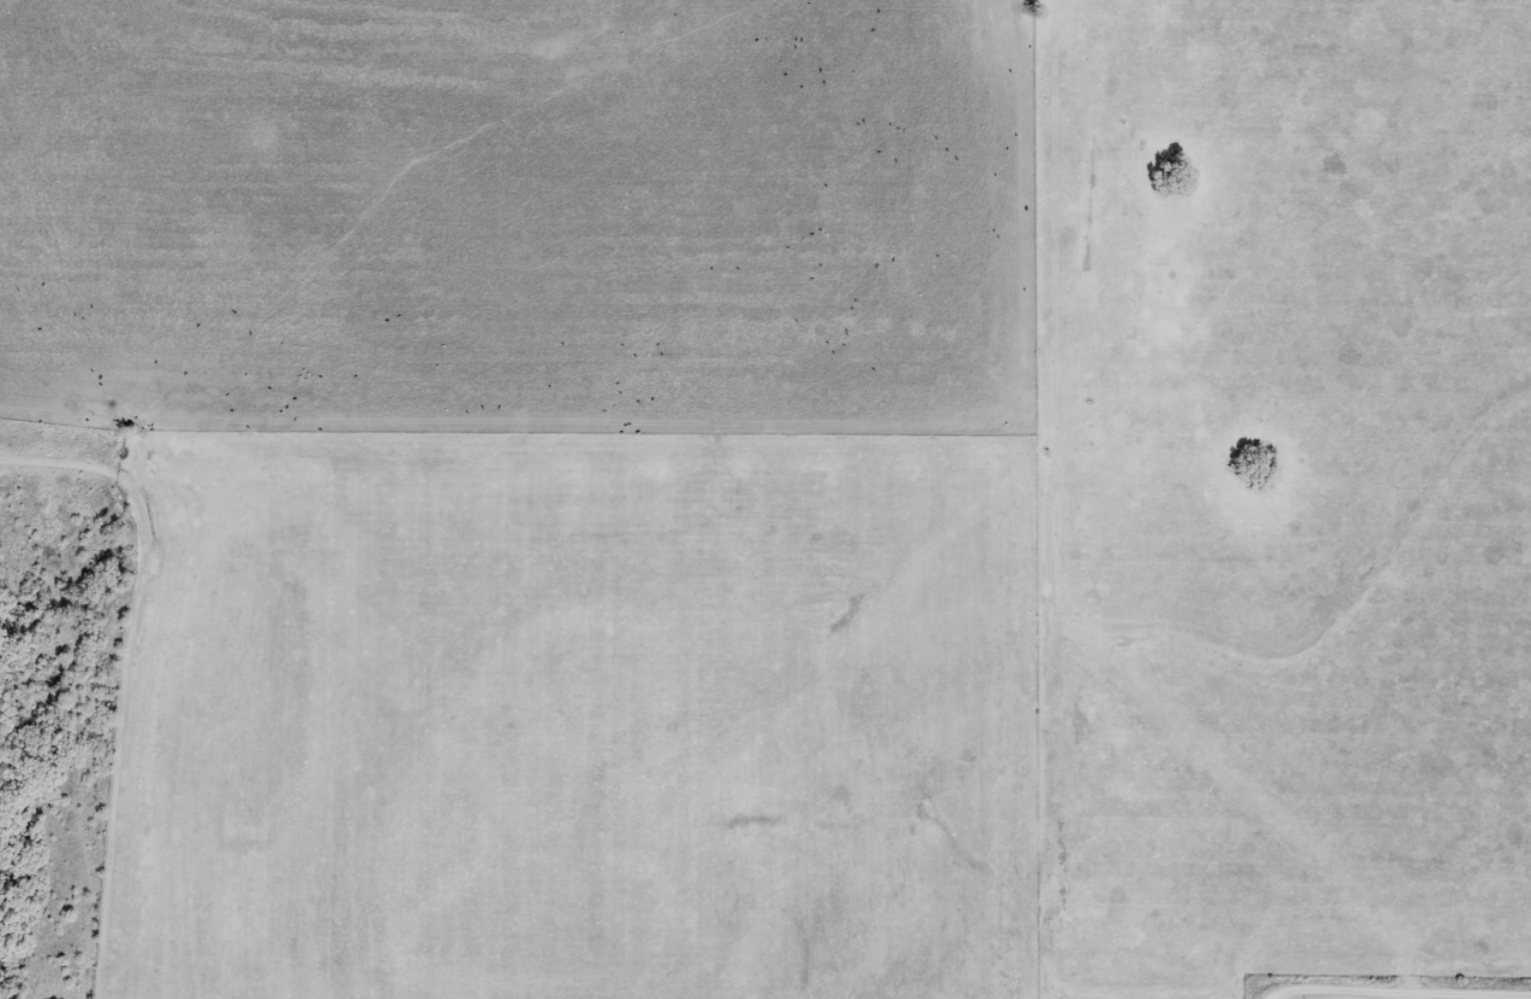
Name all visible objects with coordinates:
road: (132, 727)
road: (1436, 993)

